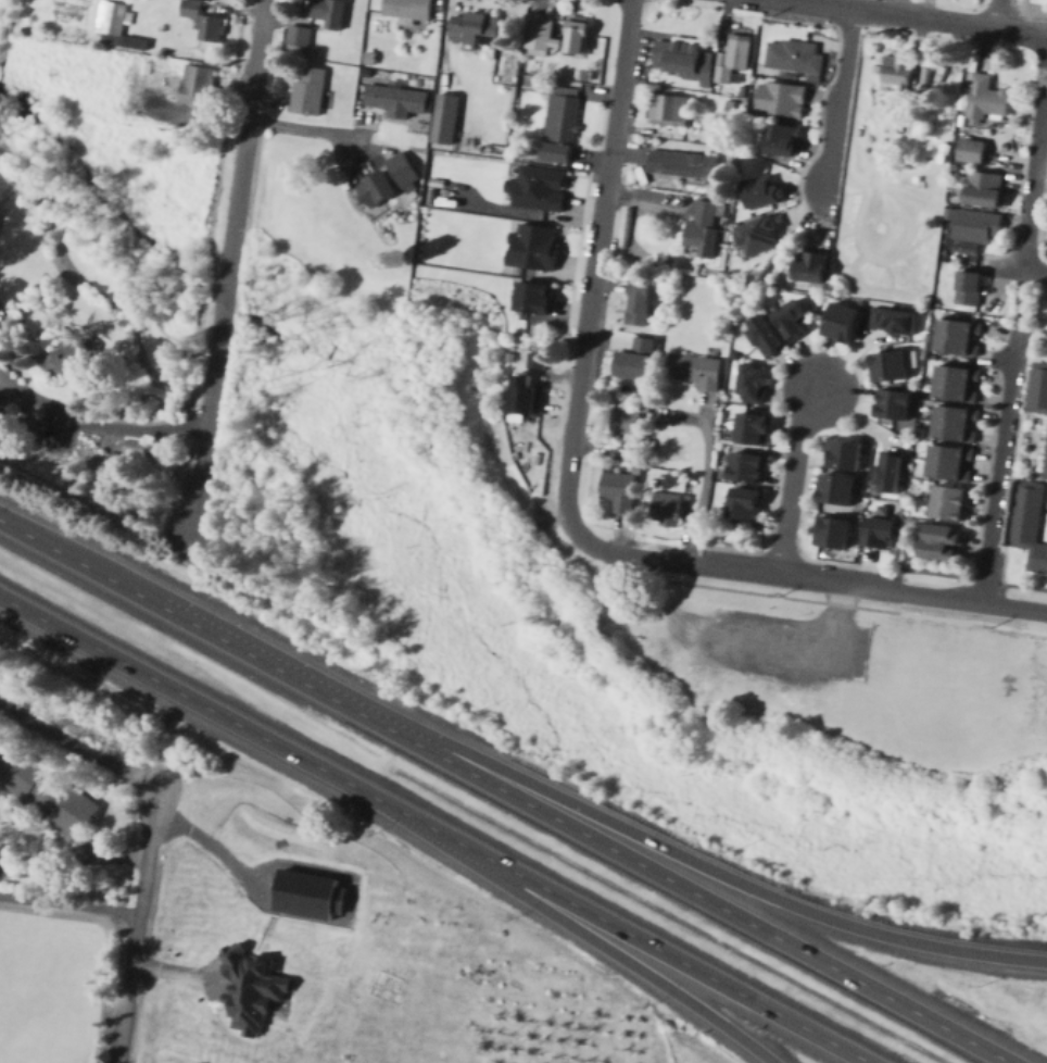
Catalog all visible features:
building: (330, 10)
building: (411, 10)
road: (999, 14)
road: (920, 17)
building: (204, 21)
building: (545, 24)
building: (118, 25)
building: (478, 30)
building: (299, 36)
building: (373, 55)
building: (734, 57)
building: (793, 57)
building: (688, 58)
building: (148, 66)
building: (368, 71)
building: (590, 74)
building: (420, 80)
building: (901, 80)
building: (197, 86)
road: (622, 86)
building: (743, 90)
building: (310, 91)
building: (781, 99)
building: (987, 99)
building: (399, 100)
road: (842, 100)
building: (670, 110)
building: (731, 110)
building: (450, 118)
building: (960, 121)
building: (565, 122)
building: (911, 125)
road: (312, 127)
building: (991, 127)
building: (783, 138)
building: (477, 143)
building: (499, 147)
building: (1004, 147)
building: (972, 150)
building: (732, 158)
building: (685, 163)
road: (1035, 165)
building: (953, 168)
building: (404, 171)
building: (539, 185)
building: (379, 188)
building: (985, 188)
building: (762, 190)
building: (951, 191)
building: (433, 196)
building: (977, 225)
building: (704, 230)
building: (761, 236)
building: (542, 245)
road: (230, 266)
building: (812, 266)
road: (1016, 268)
road: (598, 272)
building: (775, 283)
building: (970, 287)
building: (541, 293)
building: (641, 300)
road: (1022, 300)
building: (813, 309)
building: (792, 316)
building: (894, 317)
building: (842, 320)
building: (860, 326)
building: (766, 334)
building: (956, 335)
building: (658, 339)
building: (513, 357)
building: (731, 357)
building: (933, 357)
building: (71, 359)
building: (540, 359)
road: (1002, 359)
building: (634, 360)
building: (892, 364)
building: (696, 370)
building: (755, 380)
building: (954, 383)
building: (1038, 389)
building: (527, 398)
building: (894, 402)
building: (626, 421)
building: (953, 423)
road: (99, 425)
building: (755, 427)
road: (573, 450)
building: (844, 451)
building: (134, 452)
building: (949, 461)
road: (1001, 463)
building: (746, 466)
building: (891, 470)
building: (635, 471)
building: (1046, 474)
road: (791, 478)
road: (704, 480)
building: (838, 487)
building: (619, 490)
building: (686, 498)
building: (949, 502)
building: (747, 504)
building: (670, 509)
building: (1029, 523)
building: (833, 531)
building: (880, 533)
building: (943, 542)
road: (633, 554)
road: (872, 586)
street lamp: (199, 589)
road: (175, 612)
road: (973, 620)
road: (804, 645)
parking lot: (786, 648)
street lamp: (320, 652)
park: (841, 663)
road: (169, 684)
street lamp: (453, 721)
road: (84, 747)
street lamp: (593, 793)
building: (55, 796)
street lamp: (367, 831)
road: (691, 859)
road: (75, 865)
road: (682, 884)
building: (316, 891)
road: (71, 905)
road: (559, 914)
street lamp: (508, 917)
road: (606, 918)
road: (139, 930)
building: (257, 985)
street lamp: (641, 1003)

